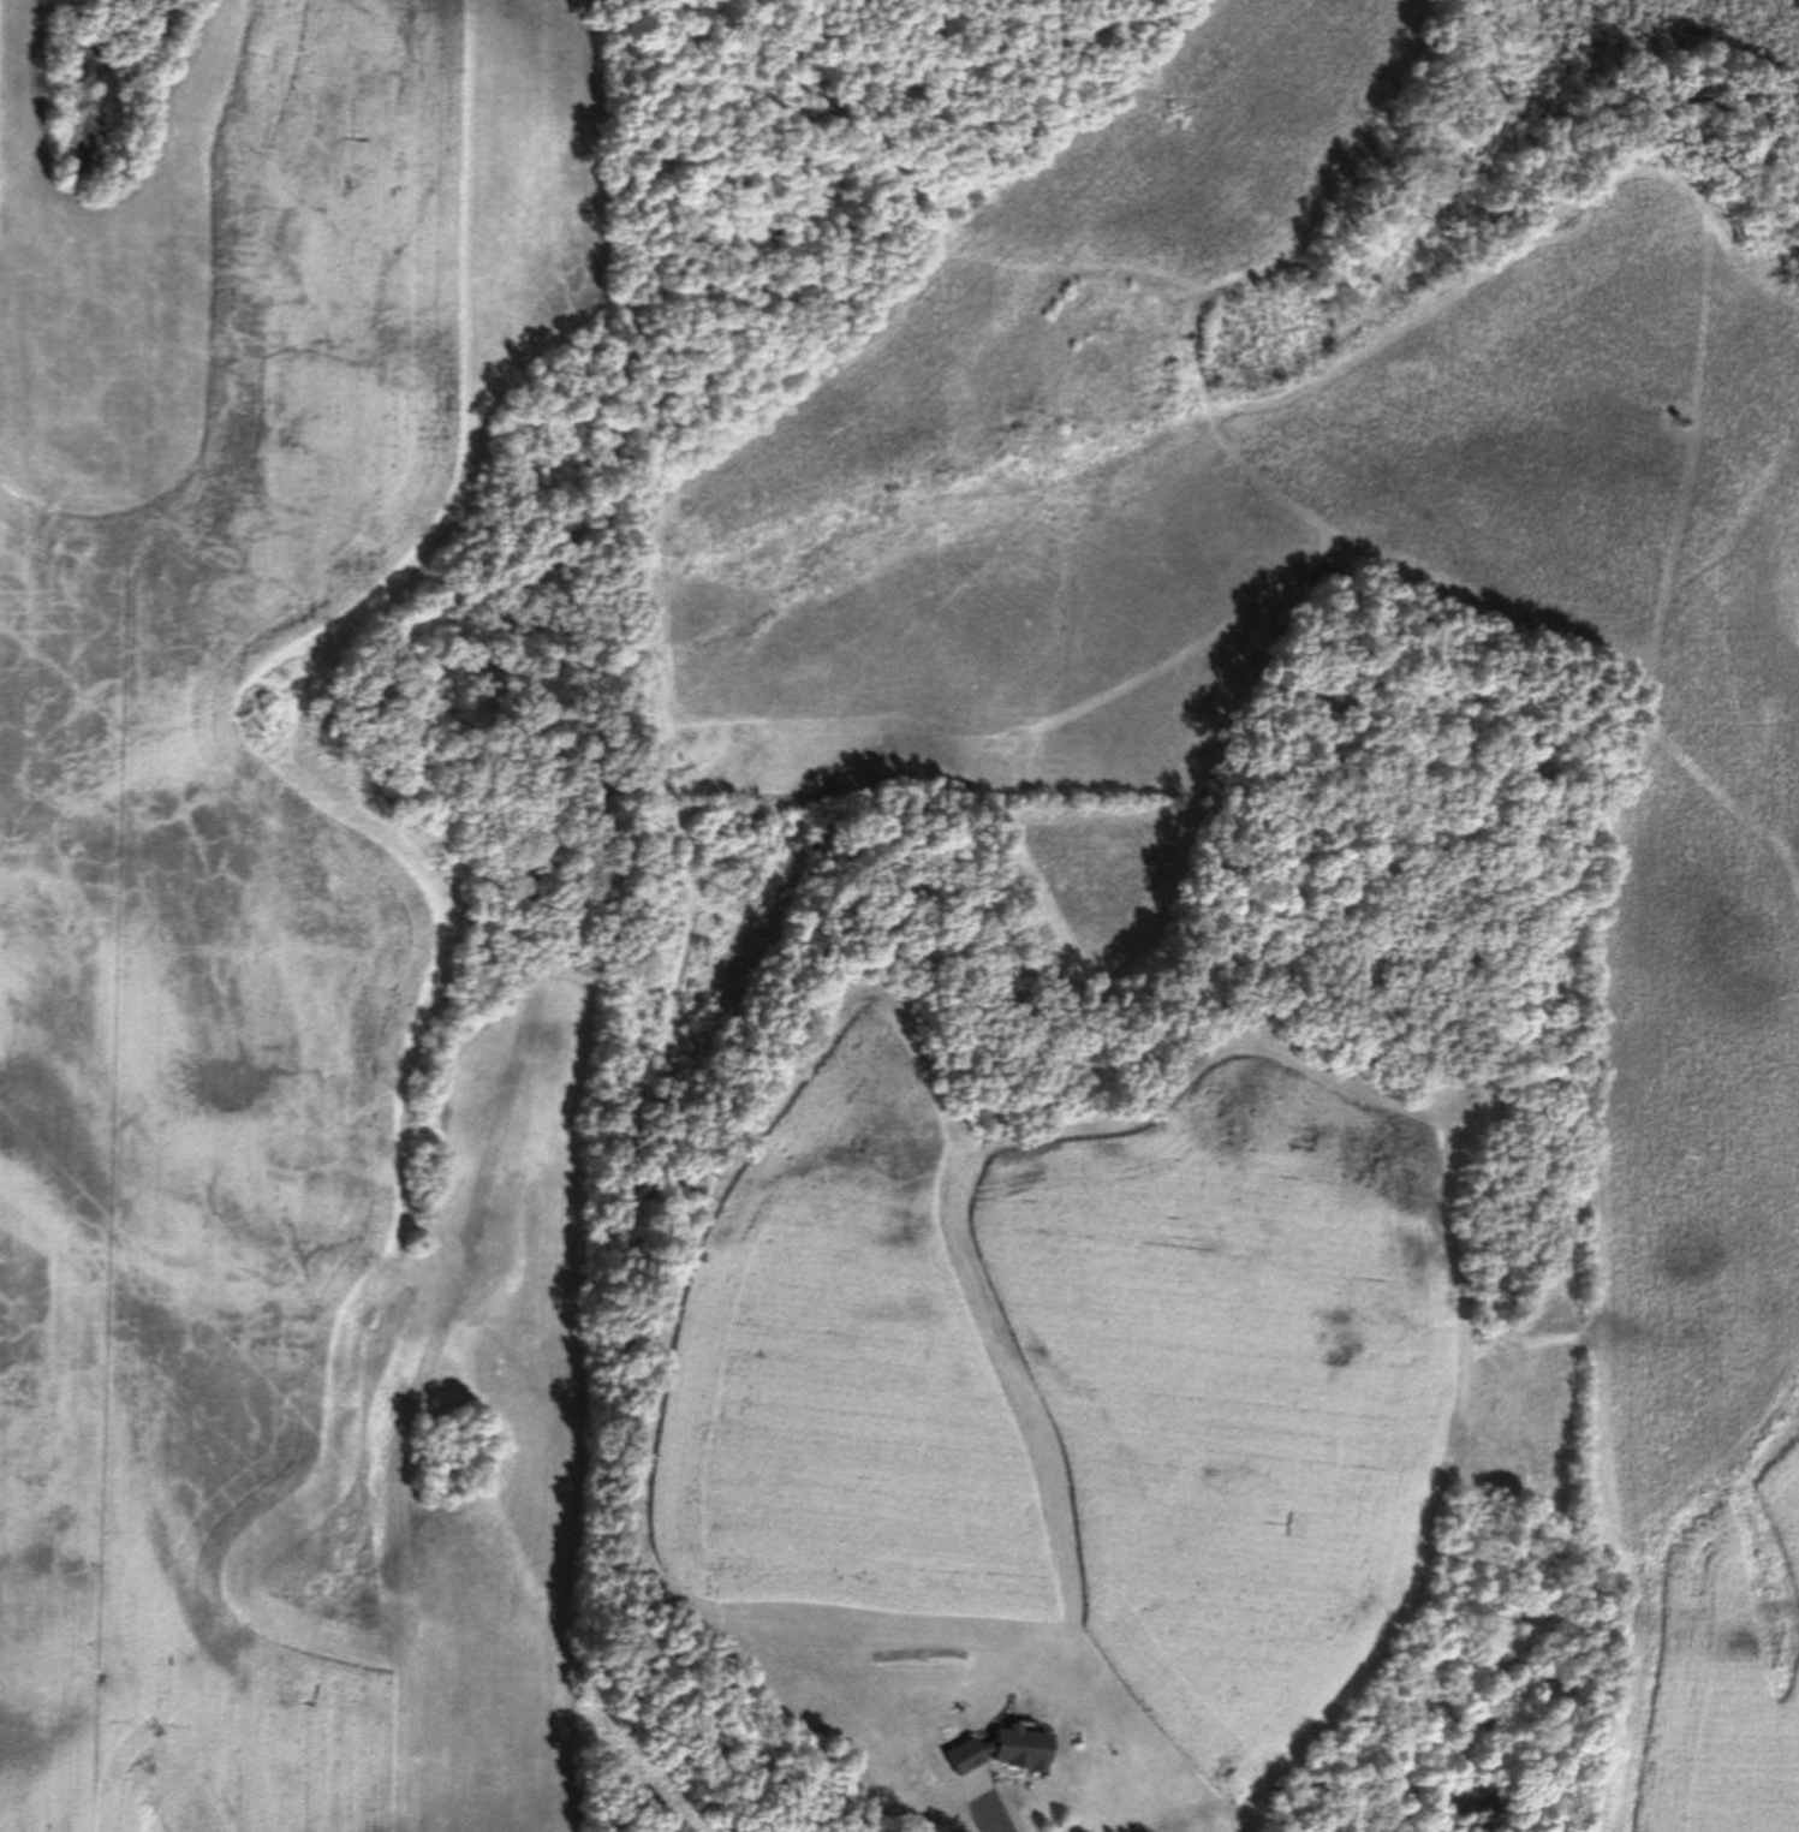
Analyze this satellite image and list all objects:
road: (996, 1822)

